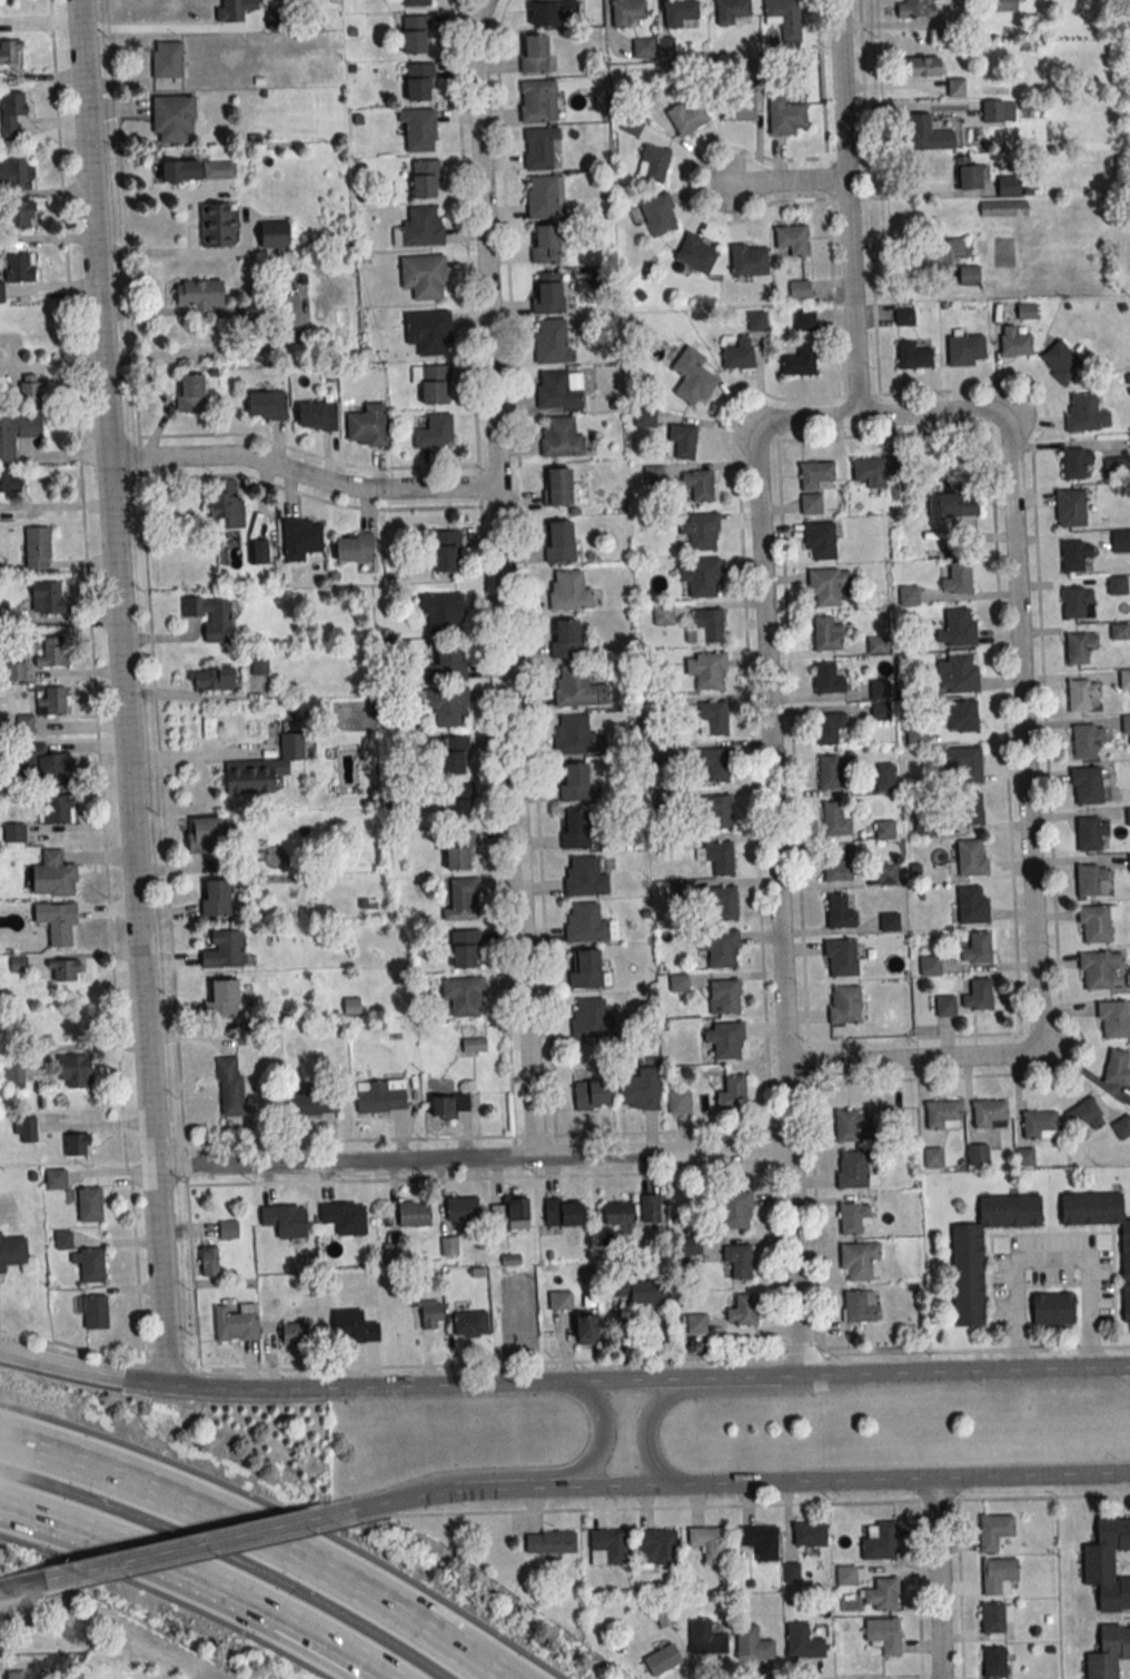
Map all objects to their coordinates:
building: (416, 2)
building: (1004, 6)
building: (234, 9)
building: (915, 9)
building: (731, 11)
building: (554, 12)
building: (628, 12)
building: (681, 13)
building: (784, 18)
road: (150, 30)
building: (416, 34)
building: (665, 46)
building: (643, 47)
building: (10, 51)
building: (536, 53)
building: (167, 58)
building: (923, 66)
building: (419, 81)
building: (955, 87)
road: (844, 88)
building: (538, 100)
building: (737, 107)
road: (910, 107)
building: (997, 110)
building: (12, 115)
building: (685, 116)
building: (786, 116)
building: (174, 117)
building: (419, 129)
building: (926, 134)
building: (544, 147)
building: (653, 162)
building: (197, 169)
building: (17, 175)
building: (971, 176)
building: (426, 178)
road: (789, 182)
building: (1012, 186)
road: (155, 192)
road: (919, 195)
building: (544, 198)
building: (1003, 207)
building: (21, 214)
building: (660, 216)
building: (215, 225)
building: (423, 227)
road: (96, 228)
building: (275, 234)
building: (792, 239)
road: (487, 243)
building: (546, 244)
road: (168, 250)
building: (695, 255)
building: (747, 259)
building: (933, 259)
building: (17, 269)
building: (969, 275)
building: (425, 276)
building: (800, 289)
building: (548, 293)
building: (200, 294)
road: (854, 297)
building: (252, 308)
building: (1025, 310)
building: (904, 317)
building: (804, 319)
building: (756, 320)
building: (429, 332)
building: (1015, 340)
building: (553, 343)
building: (965, 349)
building: (737, 354)
building: (913, 356)
building: (800, 361)
building: (1060, 362)
building: (433, 383)
building: (694, 383)
building: (33, 389)
building: (557, 391)
building: (190, 393)
road: (858, 396)
building: (267, 405)
building: (1086, 413)
building: (317, 415)
building: (644, 417)
building: (367, 426)
road: (990, 431)
building: (435, 432)
building: (17, 433)
building: (562, 437)
building: (682, 441)
building: (1076, 462)
building: (1112, 466)
building: (875, 467)
road: (305, 474)
building: (653, 474)
building: (9, 481)
building: (698, 484)
building: (814, 484)
building: (557, 486)
building: (226, 503)
building: (952, 505)
building: (1070, 507)
building: (700, 531)
building: (301, 539)
building: (820, 539)
building: (1121, 540)
building: (559, 542)
building: (36, 547)
building: (355, 547)
building: (259, 551)
building: (445, 551)
building: (1073, 555)
road: (147, 572)
building: (700, 576)
building: (955, 577)
building: (1117, 584)
building: (827, 585)
building: (571, 590)
building: (908, 595)
building: (47, 597)
building: (1077, 602)
building: (443, 611)
building: (663, 614)
building: (210, 615)
building: (705, 626)
building: (958, 628)
building: (1119, 631)
building: (827, 632)
building: (565, 639)
building: (878, 644)
building: (1079, 646)
building: (52, 651)
building: (444, 661)
building: (259, 663)
building: (706, 669)
building: (16, 670)
building: (956, 672)
building: (215, 679)
building: (827, 679)
building: (1124, 679)
road: (93, 681)
building: (579, 688)
building: (879, 690)
building: (1081, 694)
road: (770, 697)
building: (54, 701)
building: (448, 705)
building: (881, 710)
building: (962, 715)
building: (713, 718)
building: (1126, 723)
building: (27, 724)
building: (830, 728)
building: (576, 735)
building: (1087, 740)
road: (197, 754)
building: (452, 754)
building: (715, 762)
building: (965, 762)
building: (48, 766)
building: (264, 768)
building: (832, 771)
building: (884, 782)
road: (1028, 782)
building: (576, 783)
building: (1087, 786)
building: (458, 801)
building: (58, 809)
building: (969, 809)
building: (718, 811)
building: (1127, 816)
building: (835, 818)
road: (517, 820)
building: (575, 829)
building: (885, 829)
building: (14, 832)
building: (1090, 832)
building: (205, 834)
building: (458, 850)
building: (716, 856)
building: (971, 857)
building: (1129, 862)
building: (836, 863)
building: (53, 875)
building: (886, 875)
building: (586, 877)
building: (1090, 880)
building: (216, 897)
building: (460, 898)
building: (722, 902)
building: (972, 903)
building: (840, 911)
road: (140, 920)
building: (890, 921)
building: (58, 922)
building: (1096, 922)
building: (587, 924)
building: (720, 947)
building: (975, 947)
building: (466, 948)
building: (224, 949)
building: (840, 957)
building: (930, 965)
building: (66, 969)
building: (1098, 969)
building: (586, 970)
building: (678, 981)
building: (978, 995)
building: (465, 996)
building: (723, 996)
building: (220, 998)
building: (844, 1004)
building: (945, 1005)
building: (1113, 1019)
building: (593, 1020)
building: (724, 1039)
building: (1118, 1067)
building: (75, 1071)
building: (12, 1075)
building: (232, 1088)
building: (641, 1090)
building: (731, 1093)
building: (593, 1094)
building: (381, 1095)
building: (313, 1098)
building: (680, 1102)
building: (450, 1104)
road: (791, 1107)
building: (943, 1114)
building: (990, 1114)
building: (1084, 1116)
building: (885, 1118)
building: (850, 1124)
building: (1039, 1124)
building: (1121, 1126)
building: (26, 1129)
road: (496, 1136)
building: (78, 1144)
road: (663, 1152)
building: (978, 1154)
building: (1024, 1156)
building: (933, 1157)
road: (345, 1161)
road: (186, 1165)
building: (852, 1168)
road: (476, 1178)
building: (56, 1179)
building: (90, 1204)
building: (462, 1207)
building: (648, 1208)
building: (734, 1209)
building: (509, 1212)
building: (564, 1212)
building: (414, 1213)
building: (618, 1213)
building: (345, 1217)
building: (852, 1217)
building: (286, 1221)
building: (228, 1228)
building: (688, 1245)
building: (12, 1252)
building: (858, 1258)
building: (210, 1261)
building: (737, 1261)
road: (1051, 1261)
road: (797, 1262)
building: (90, 1264)
building: (1126, 1274)
building: (968, 1276)
road: (192, 1278)
building: (642, 1290)
building: (561, 1300)
building: (859, 1306)
building: (427, 1308)
building: (1053, 1308)
building: (741, 1310)
building: (95, 1312)
building: (236, 1322)
building: (470, 1323)
building: (693, 1323)
building: (354, 1326)
building: (586, 1329)
building: (286, 1333)
road: (822, 1352)
road: (409, 1365)
road: (85, 1370)
road: (967, 1371)
road: (793, 1375)
road: (680, 1379)
road: (374, 1386)
road: (712, 1391)
road: (529, 1474)
road: (1032, 1474)
road: (806, 1482)
road: (572, 1488)
road: (394, 1501)
building: (994, 1531)
building: (809, 1533)
road: (257, 1541)
building: (551, 1541)
building: (760, 1541)
building: (879, 1541)
building: (708, 1542)
road: (199, 1544)
building: (607, 1548)
building: (656, 1548)
building: (1108, 1564)
building: (845, 1574)
building: (999, 1574)
road: (199, 1578)
road: (938, 1579)
road: (37, 1581)
building: (881, 1594)
building: (994, 1617)
building: (883, 1636)
building: (706, 1638)
building: (804, 1639)
building: (753, 1643)
building: (1109, 1653)
building: (663, 1659)
building: (993, 1661)
building: (28, 1676)

